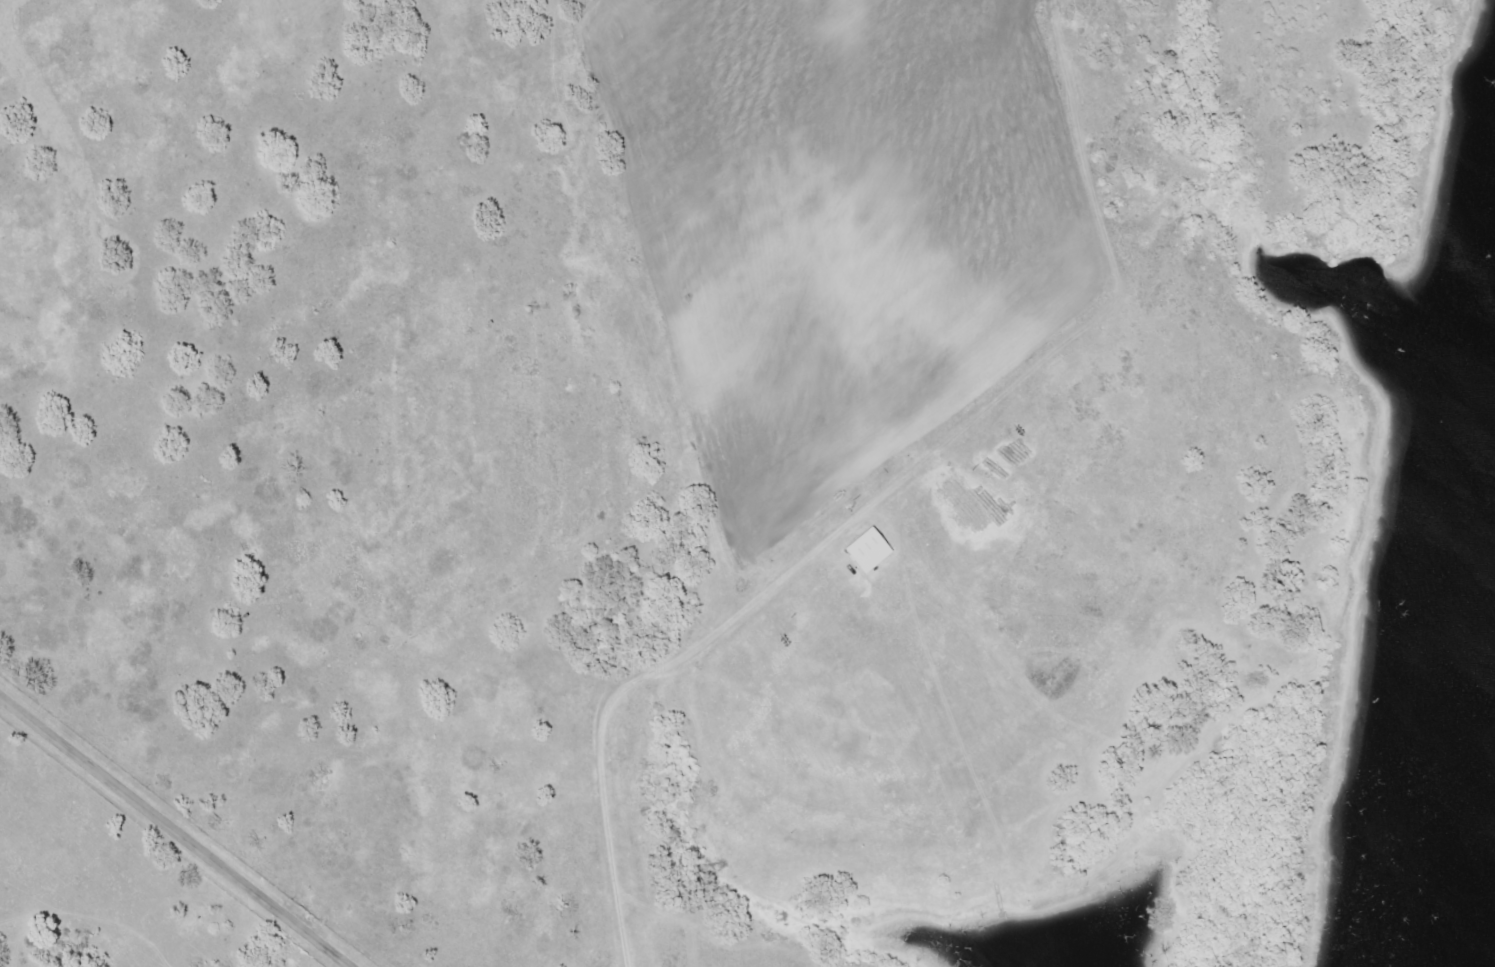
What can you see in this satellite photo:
road: (179, 829)
river: (1483, 924)

